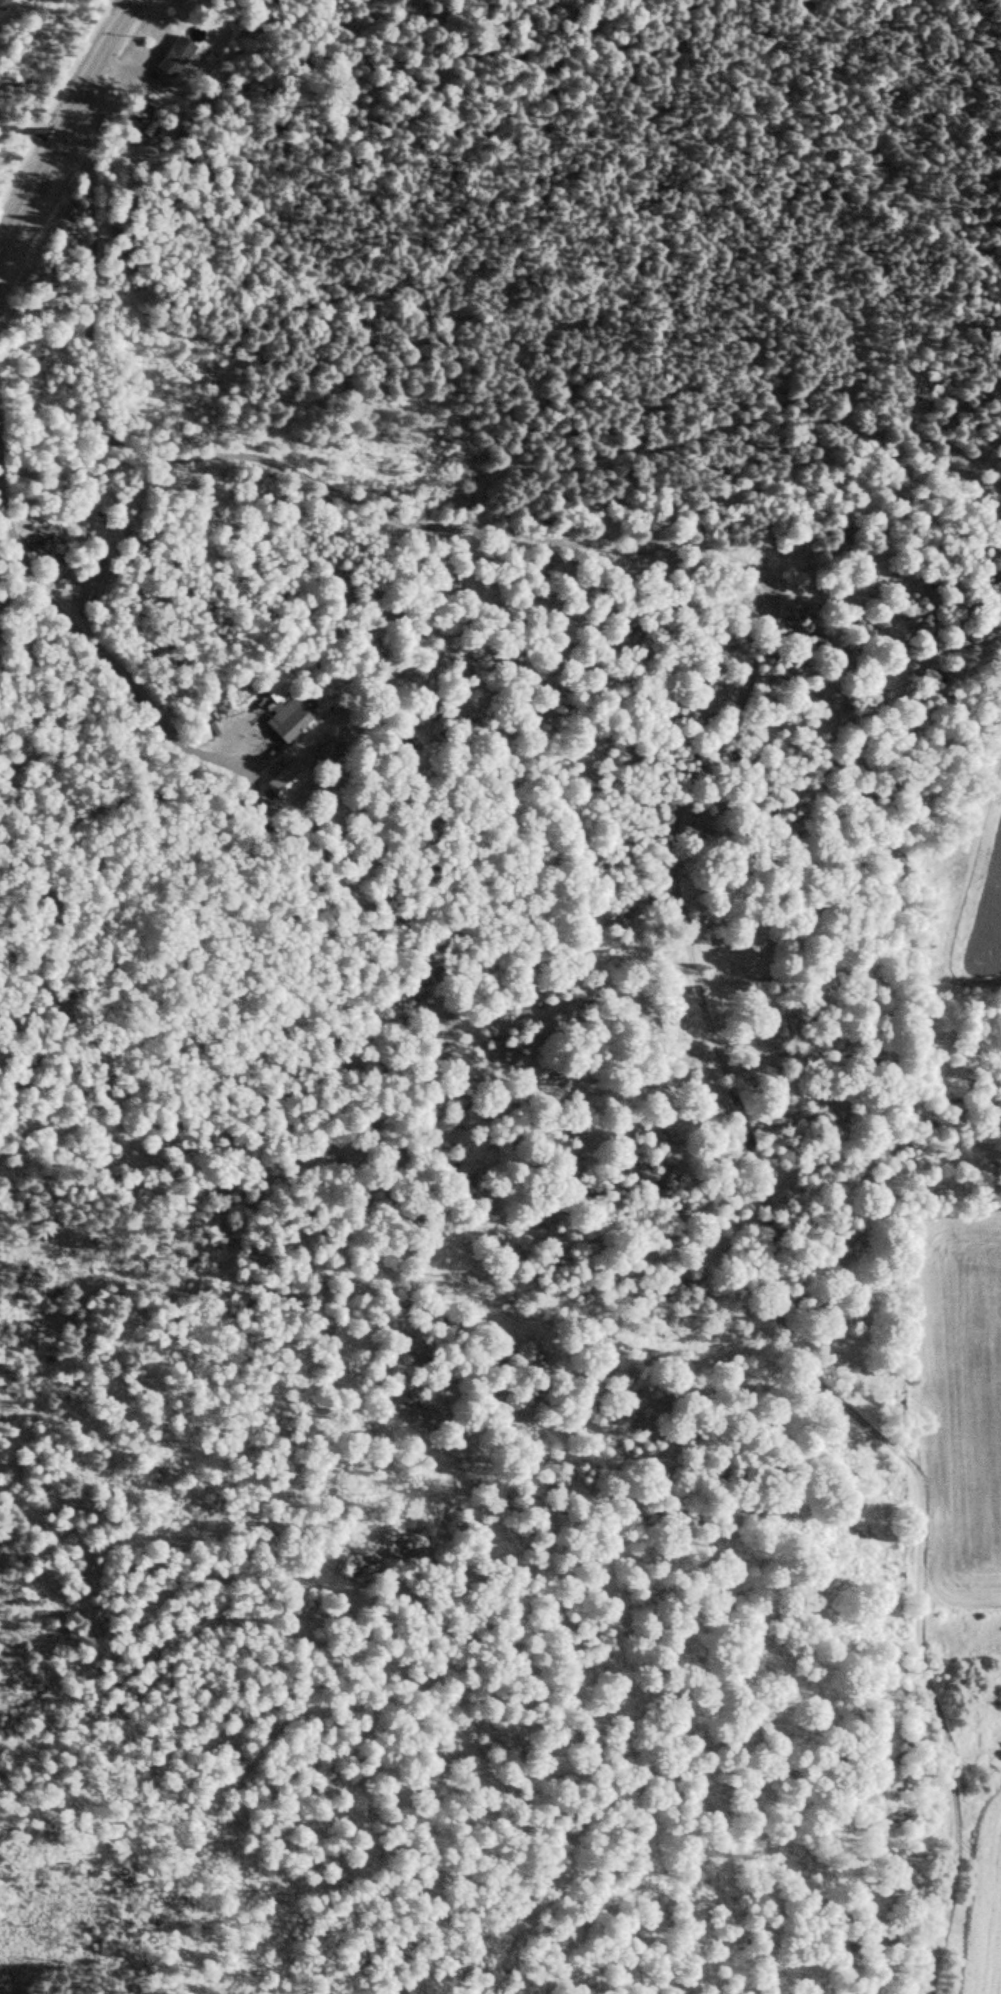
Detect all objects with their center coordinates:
building: (3, 4)
building: (172, 60)
road: (66, 124)
road: (31, 128)
building: (23, 476)
road: (98, 650)
building: (282, 710)

